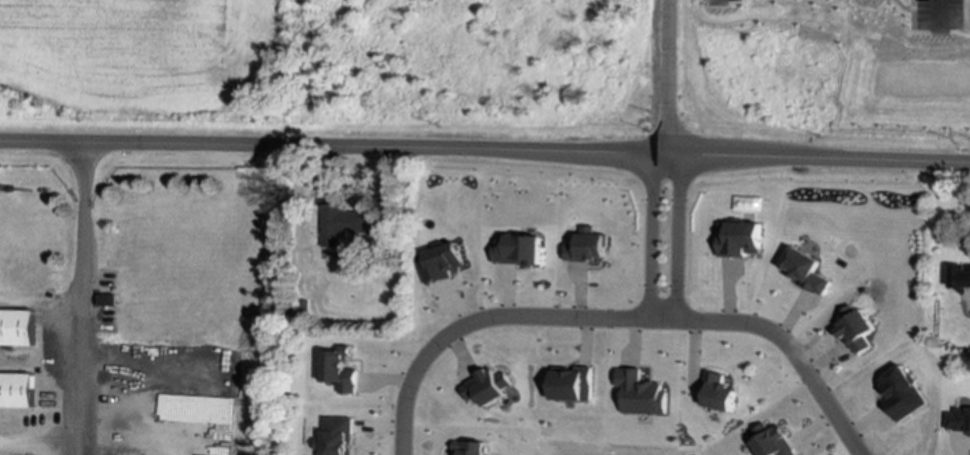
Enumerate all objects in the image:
road: (940, 6)
road: (667, 77)
road: (485, 151)
building: (343, 223)
road: (648, 235)
road: (675, 237)
building: (737, 239)
building: (585, 247)
building: (516, 250)
building: (439, 263)
building: (802, 270)
building: (959, 277)
road: (79, 300)
road: (39, 306)
road: (615, 319)
building: (17, 328)
building: (853, 330)
building: (339, 370)
building: (572, 384)
building: (486, 387)
building: (16, 390)
building: (640, 393)
building: (716, 393)
building: (899, 393)
building: (958, 420)
building: (336, 437)
building: (771, 441)
road: (40, 446)
building: (470, 448)

